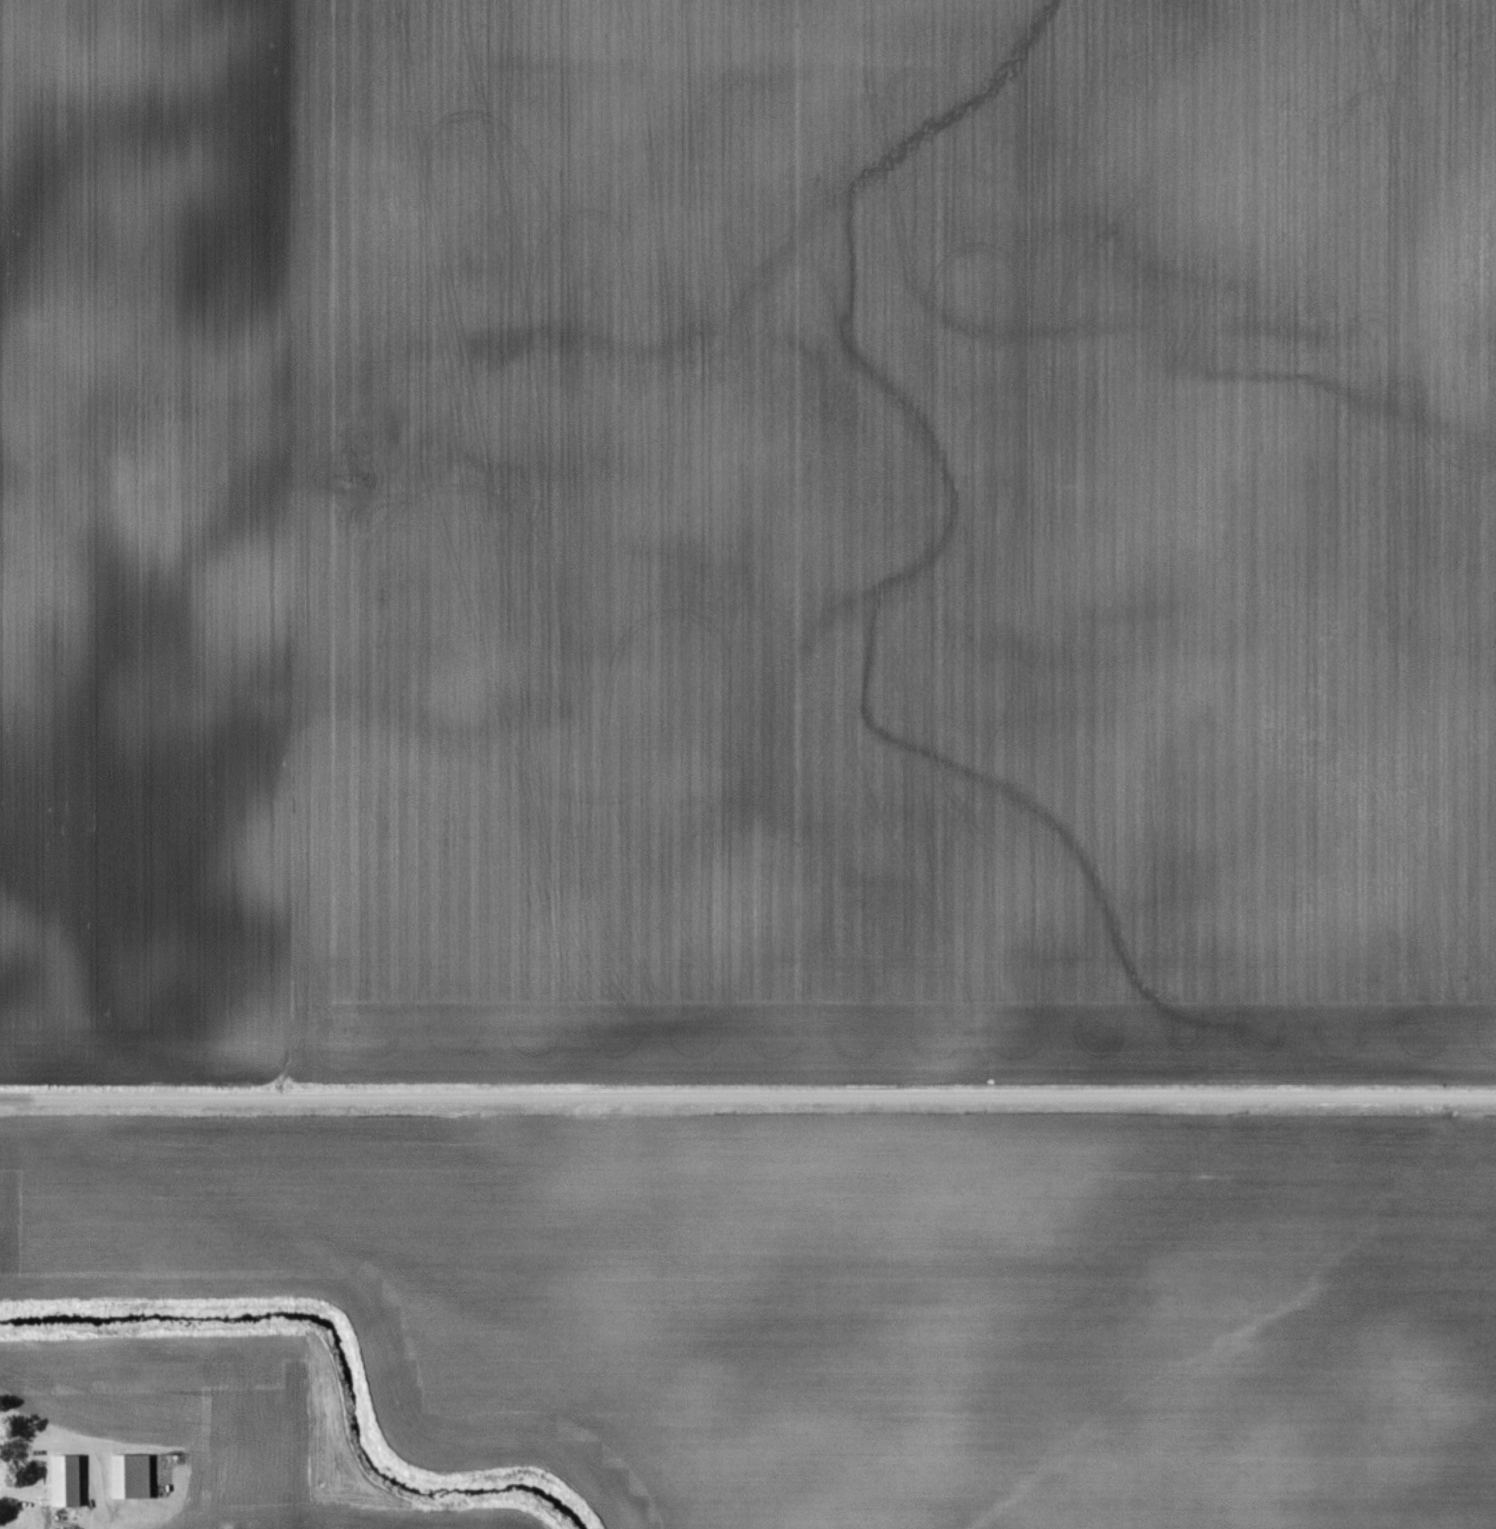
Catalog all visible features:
road: (748, 1096)
road: (17, 1443)
building: (129, 1476)
building: (64, 1480)

